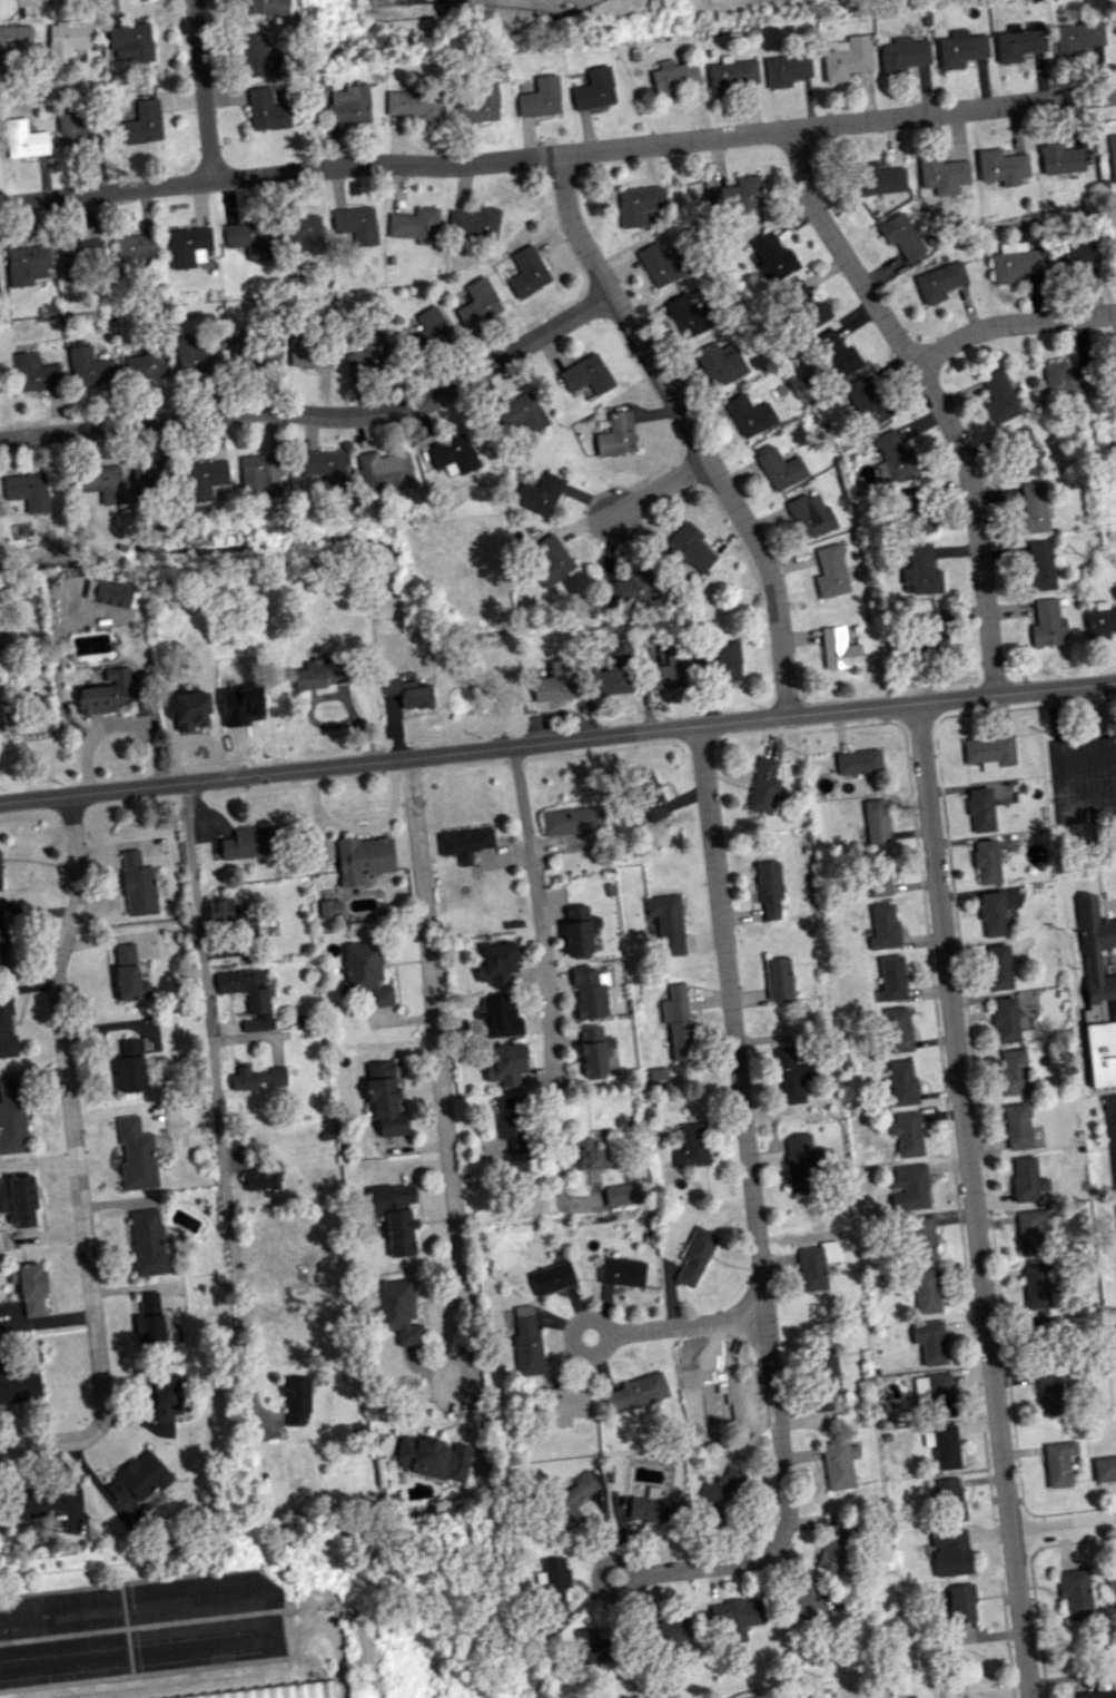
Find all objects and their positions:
building: (268, 7)
building: (1115, 33)
building: (1077, 38)
building: (66, 40)
building: (13, 41)
building: (130, 41)
building: (1019, 43)
building: (961, 48)
building: (903, 55)
building: (259, 57)
building: (847, 58)
building: (787, 69)
building: (732, 75)
building: (672, 77)
building: (593, 89)
road: (204, 90)
building: (540, 98)
building: (477, 104)
building: (415, 105)
building: (349, 106)
building: (266, 110)
building: (144, 122)
building: (73, 128)
building: (23, 139)
road: (557, 155)
building: (1112, 156)
building: (1060, 159)
building: (1001, 166)
building: (942, 175)
building: (879, 178)
building: (734, 194)
building: (639, 204)
building: (474, 222)
building: (355, 224)
building: (414, 224)
building: (1115, 224)
building: (304, 233)
building: (901, 236)
building: (247, 238)
building: (187, 245)
building: (136, 246)
building: (1074, 255)
building: (79, 256)
building: (771, 257)
building: (1016, 262)
building: (27, 264)
building: (661, 265)
building: (526, 272)
building: (939, 282)
building: (478, 303)
building: (804, 303)
building: (687, 315)
road: (1010, 323)
building: (428, 328)
building: (305, 351)
building: (249, 352)
building: (197, 354)
building: (368, 355)
building: (836, 355)
building: (147, 363)
building: (720, 364)
building: (89, 366)
building: (34, 373)
building: (585, 374)
building: (1066, 377)
building: (999, 396)
road: (934, 397)
building: (865, 401)
building: (521, 413)
road: (319, 415)
building: (748, 415)
road: (689, 430)
building: (616, 434)
building: (1023, 451)
building: (452, 454)
building: (893, 454)
building: (325, 467)
building: (778, 468)
building: (383, 470)
building: (152, 474)
building: (260, 475)
building: (204, 478)
building: (101, 482)
road: (660, 489)
building: (27, 490)
building: (539, 494)
building: (90, 498)
building: (1033, 508)
building: (912, 509)
building: (809, 514)
building: (690, 548)
building: (551, 560)
building: (1039, 566)
building: (920, 570)
building: (831, 571)
building: (628, 590)
building: (110, 593)
building: (1100, 620)
building: (1047, 624)
building: (930, 634)
building: (838, 649)
building: (721, 664)
building: (670, 670)
building: (319, 675)
building: (613, 676)
building: (555, 683)
building: (407, 693)
building: (102, 698)
building: (187, 709)
building: (0, 724)
road: (557, 740)
building: (989, 752)
road: (1057, 753)
building: (857, 762)
building: (762, 786)
building: (649, 796)
building: (979, 809)
building: (574, 819)
building: (876, 821)
building: (249, 842)
building: (464, 844)
building: (363, 858)
building: (986, 862)
building: (878, 873)
building: (137, 884)
building: (0, 886)
building: (767, 889)
road: (539, 912)
building: (245, 914)
building: (991, 914)
building: (665, 923)
building: (882, 926)
building: (577, 931)
building: (2, 946)
building: (495, 963)
building: (998, 966)
building: (126, 971)
building: (364, 974)
building: (777, 979)
building: (891, 979)
building: (589, 992)
building: (1098, 992)
building: (248, 997)
building: (498, 1017)
building: (1005, 1020)
building: (676, 1022)
building: (7, 1028)
building: (898, 1030)
building: (593, 1051)
building: (504, 1062)
building: (129, 1067)
road: (438, 1071)
building: (1013, 1072)
road: (216, 1074)
building: (789, 1076)
building: (257, 1078)
building: (901, 1083)
building: (384, 1099)
road: (70, 1110)
building: (12, 1117)
building: (511, 1122)
building: (1017, 1126)
building: (907, 1133)
building: (691, 1146)
building: (136, 1155)
building: (590, 1155)
road: (555, 1157)
building: (801, 1162)
building: (1027, 1179)
building: (260, 1180)
building: (908, 1188)
building: (622, 1194)
building: (391, 1197)
road: (971, 1199)
building: (1031, 1231)
building: (399, 1233)
building: (922, 1238)
building: (147, 1241)
building: (694, 1255)
building: (814, 1265)
road: (760, 1267)
building: (621, 1272)
building: (551, 1278)
building: (1035, 1286)
building: (31, 1289)
building: (926, 1290)
building: (397, 1311)
building: (150, 1322)
building: (1040, 1324)
road: (631, 1331)
building: (929, 1341)
building: (526, 1342)
building: (826, 1370)
building: (18, 1383)
building: (711, 1388)
building: (634, 1393)
building: (934, 1393)
building: (1048, 1393)
building: (296, 1397)
building: (167, 1398)
building: (563, 1405)
road: (50, 1443)
building: (942, 1445)
building: (433, 1457)
building: (1058, 1463)
building: (838, 1464)
building: (1104, 1469)
building: (138, 1478)
building: (719, 1495)
building: (572, 1499)
building: (149, 1500)
building: (949, 1500)
building: (40, 1503)
building: (654, 1509)
road: (1063, 1524)
building: (834, 1545)
building: (950, 1552)
building: (1112, 1576)
building: (553, 1582)
building: (1074, 1593)
building: (801, 1602)
building: (961, 1602)
building: (734, 1617)
building: (672, 1630)
building: (593, 1647)
building: (288, 1692)
building: (1094, 1695)

